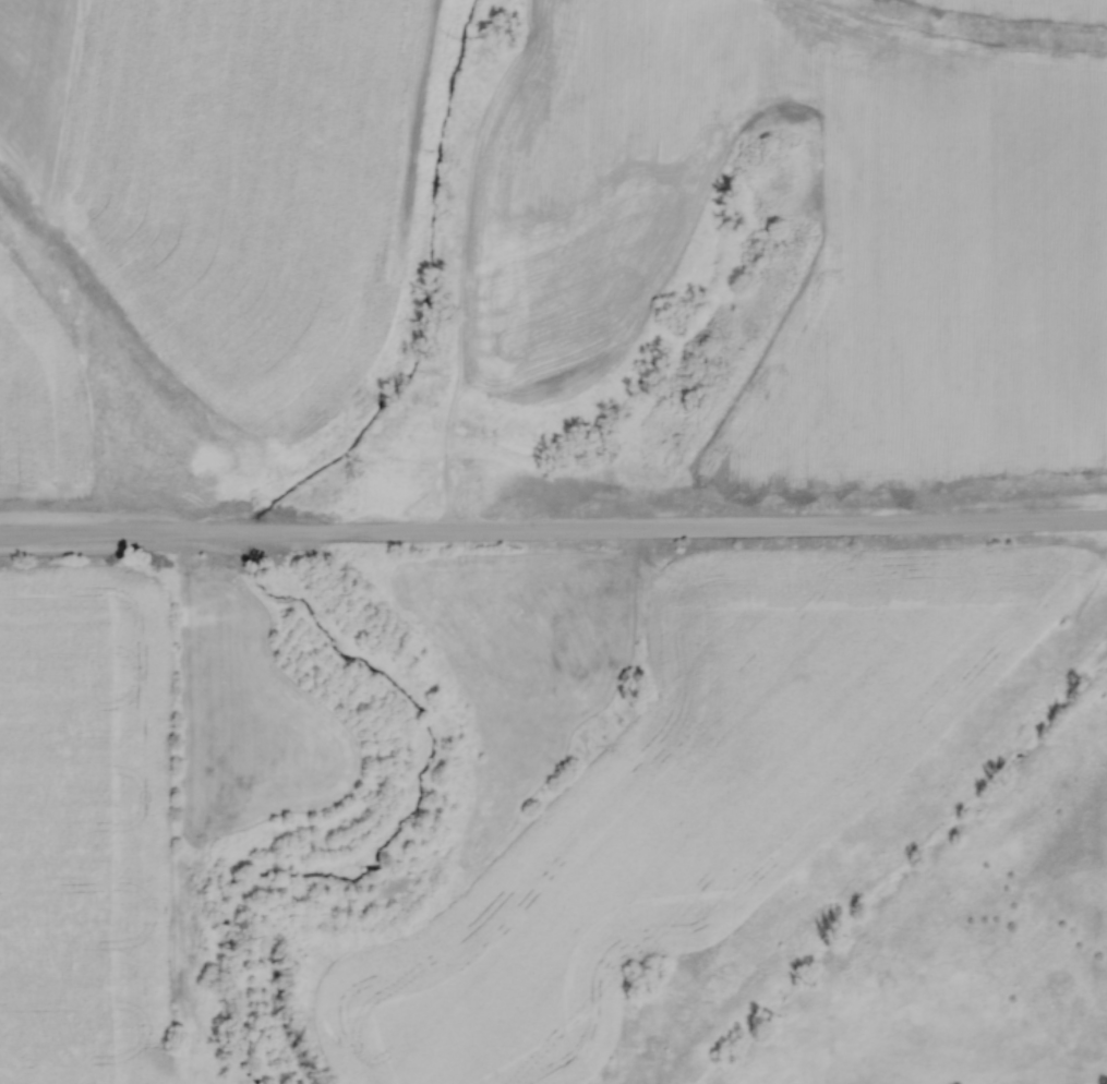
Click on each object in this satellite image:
road: (553, 533)

